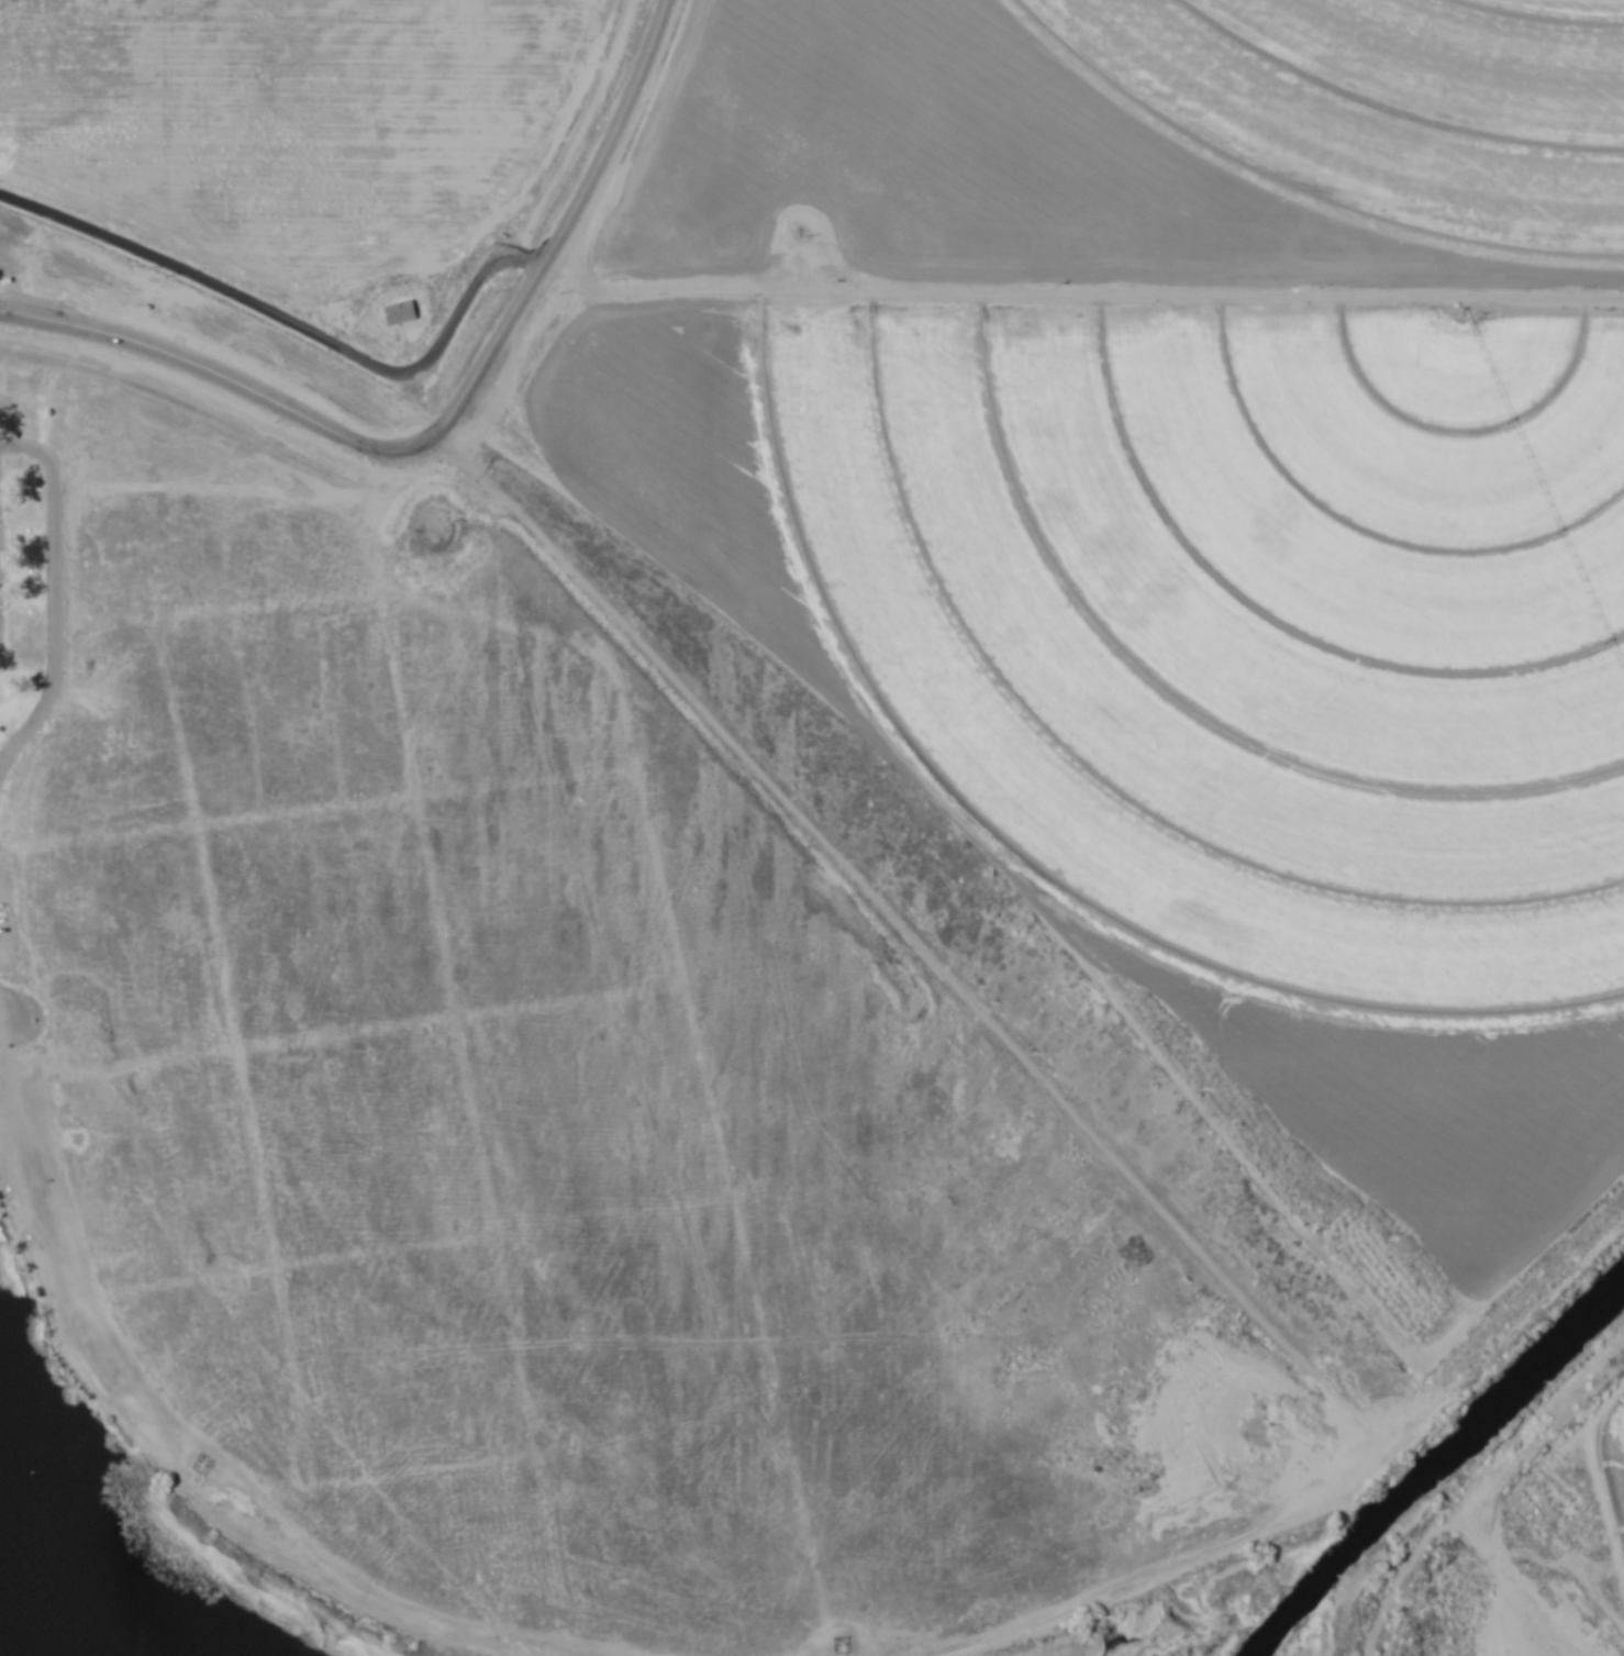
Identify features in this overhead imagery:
road: (675, 15)
road: (707, 170)
road: (570, 252)
building: (399, 312)
road: (302, 327)
road: (1172, 337)
road: (214, 362)
crop: (1242, 515)

